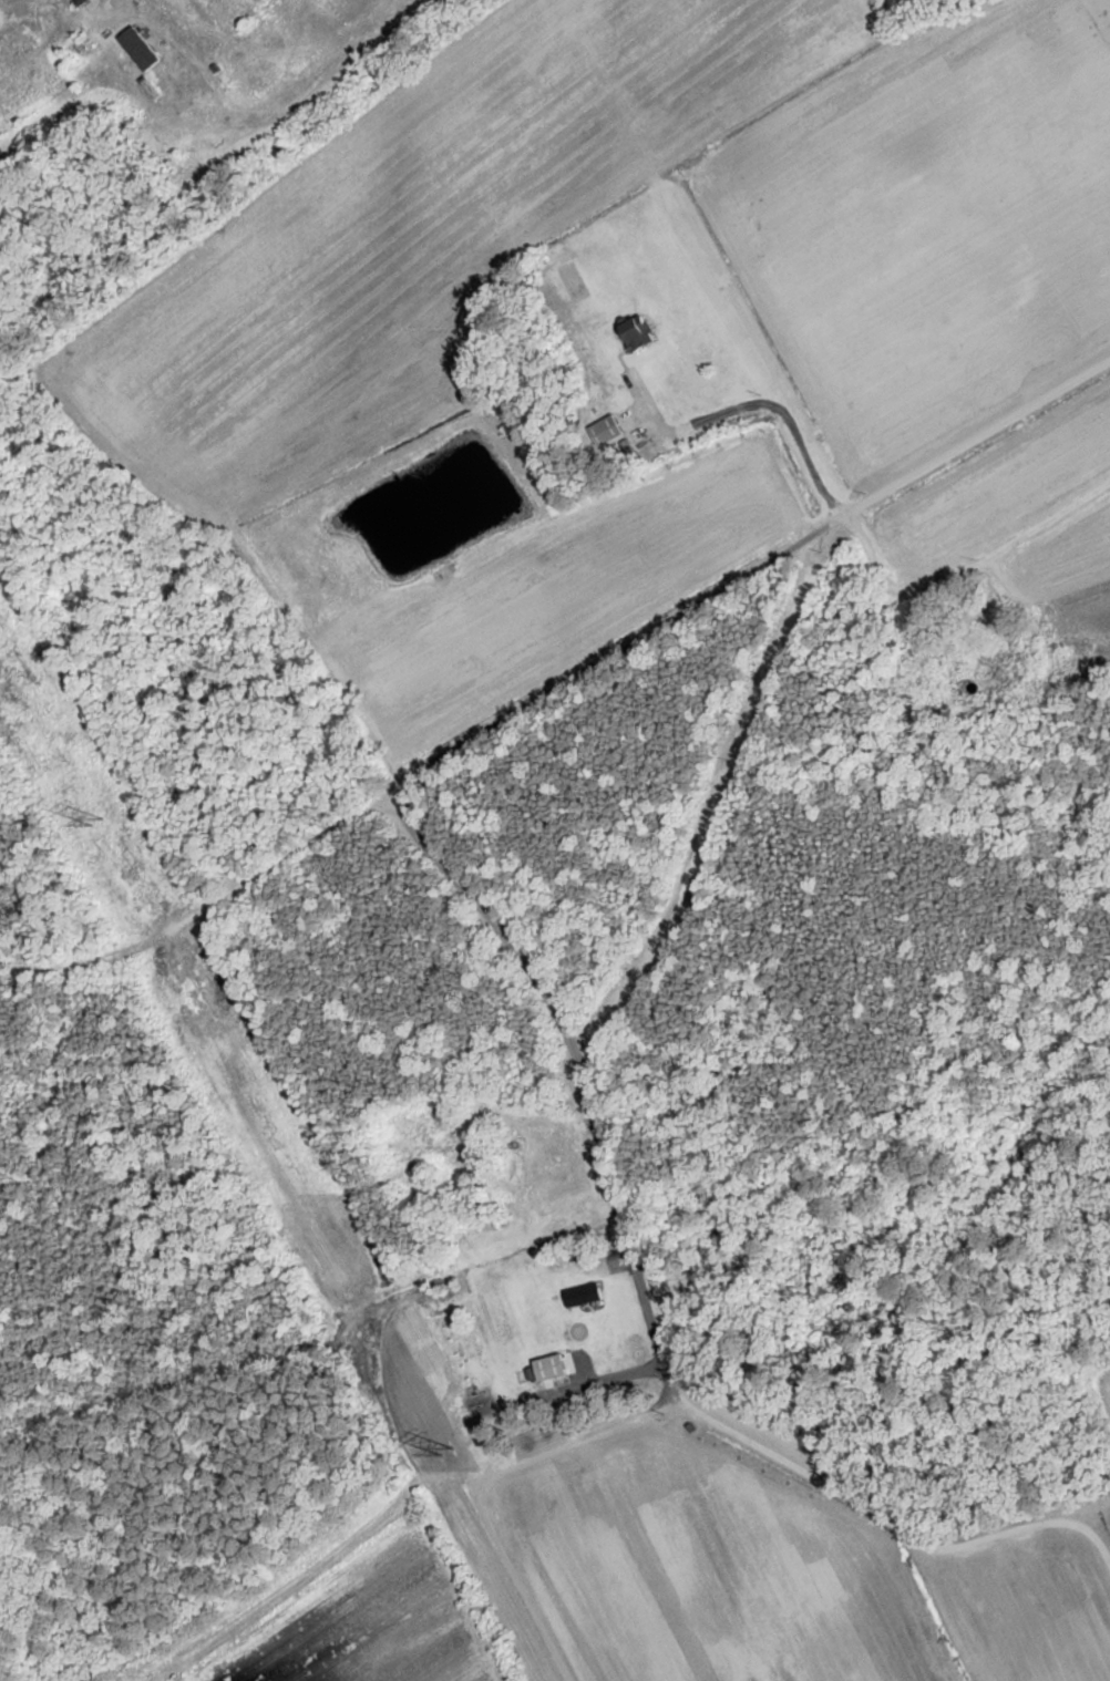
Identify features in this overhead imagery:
building: (141, 49)
building: (640, 334)
building: (608, 432)
building: (997, 649)
building: (959, 653)
power tower: (99, 821)
building: (584, 1295)
building: (553, 1368)
power tower: (449, 1452)

